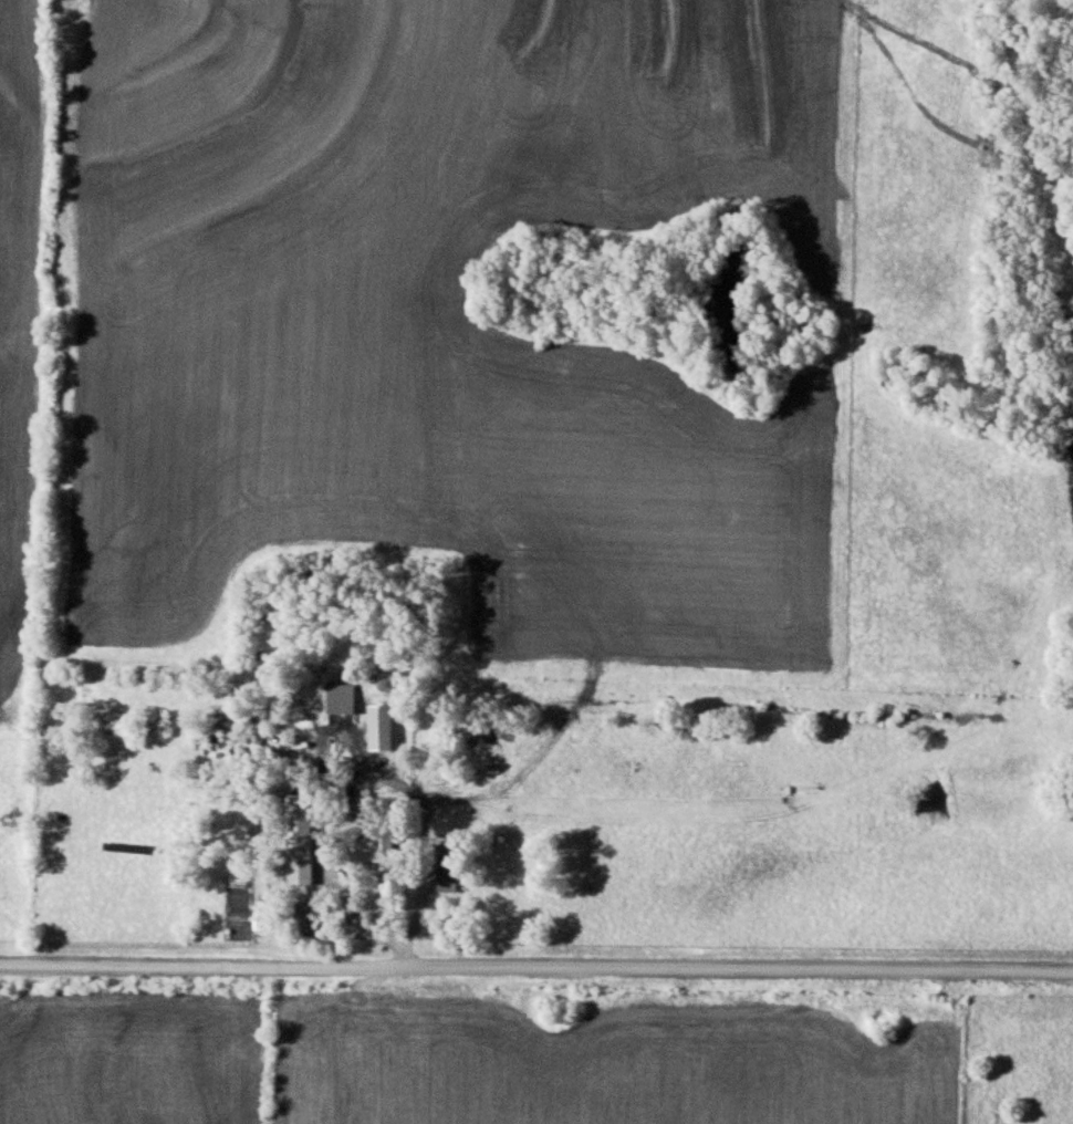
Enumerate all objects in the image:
building: (337, 701)
building: (376, 725)
building: (296, 836)
building: (372, 842)
building: (444, 864)
road: (536, 965)
crop: (604, 1063)

